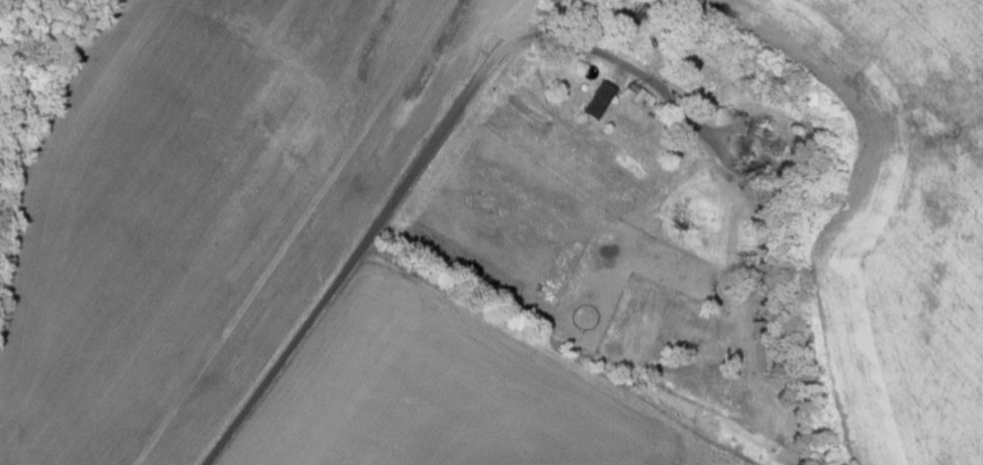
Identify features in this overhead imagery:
building: (599, 101)
road: (430, 154)
building: (770, 347)

